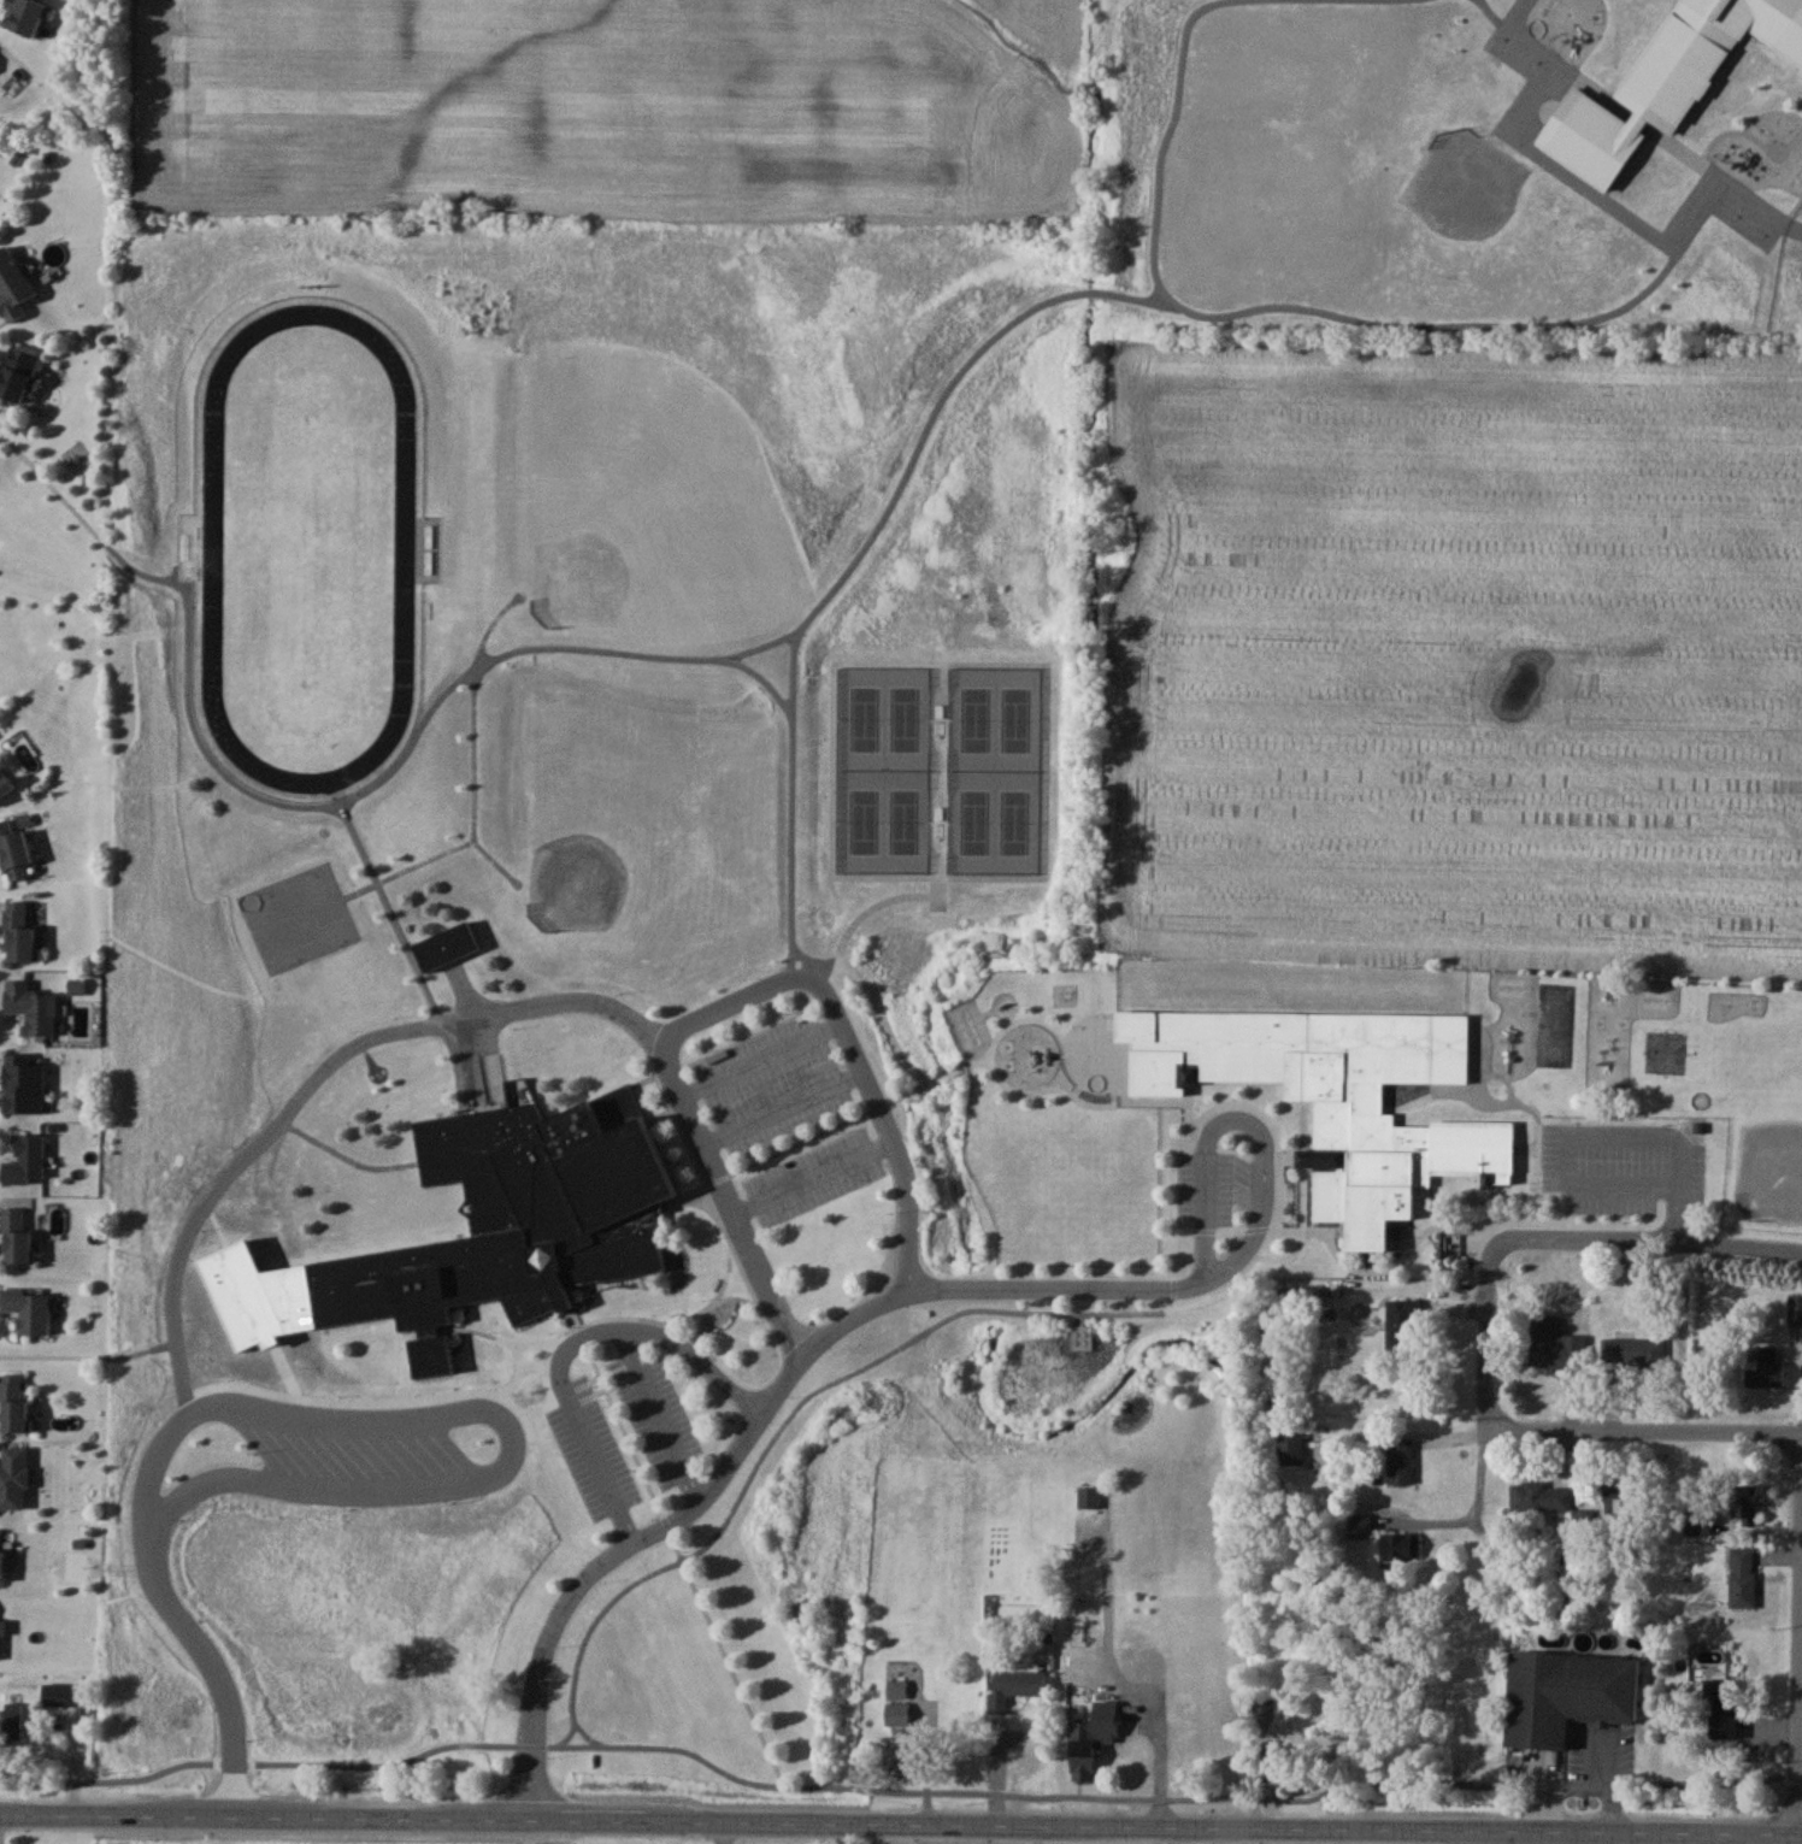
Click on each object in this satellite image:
building: (12, 284)
building: (18, 371)
track: (211, 538)
building: (5, 784)
building: (14, 850)
building: (19, 930)
building: (446, 945)
road: (731, 1006)
building: (31, 1007)
road: (759, 1061)
road: (312, 1083)
building: (23, 1084)
building: (1329, 1101)
road: (779, 1106)
road: (1266, 1115)
road: (1595, 1130)
building: (25, 1160)
road: (811, 1173)
road: (909, 1212)
building: (512, 1220)
building: (18, 1237)
road: (1496, 1243)
road: (1741, 1247)
building: (1656, 1276)
road: (762, 1283)
building: (29, 1309)
building: (1402, 1321)
building: (1079, 1337)
road: (570, 1343)
building: (1555, 1349)
building: (1632, 1351)
building: (1778, 1353)
building: (13, 1402)
road: (656, 1414)
road: (754, 1420)
road: (343, 1421)
road: (782, 1425)
road: (1642, 1430)
building: (1290, 1448)
building: (1401, 1460)
road: (1480, 1475)
building: (13, 1477)
building: (1539, 1496)
building: (1620, 1503)
building: (1744, 1504)
building: (1698, 1521)
building: (1360, 1525)
building: (1401, 1545)
building: (1, 1554)
building: (1743, 1575)
road: (1797, 1631)
building: (1138, 1652)
building: (1017, 1684)
building: (1559, 1686)
building: (63, 1693)
building: (896, 1701)
building: (1721, 1705)
building: (1264, 1707)
building: (1074, 1714)
building: (11, 1724)
road: (591, 1734)
building: (1083, 1760)
building: (1270, 1760)
road: (1164, 1761)
road: (1607, 1781)
road: (899, 1790)
road: (900, 1827)
road: (723, 1834)
road: (1589, 1838)

